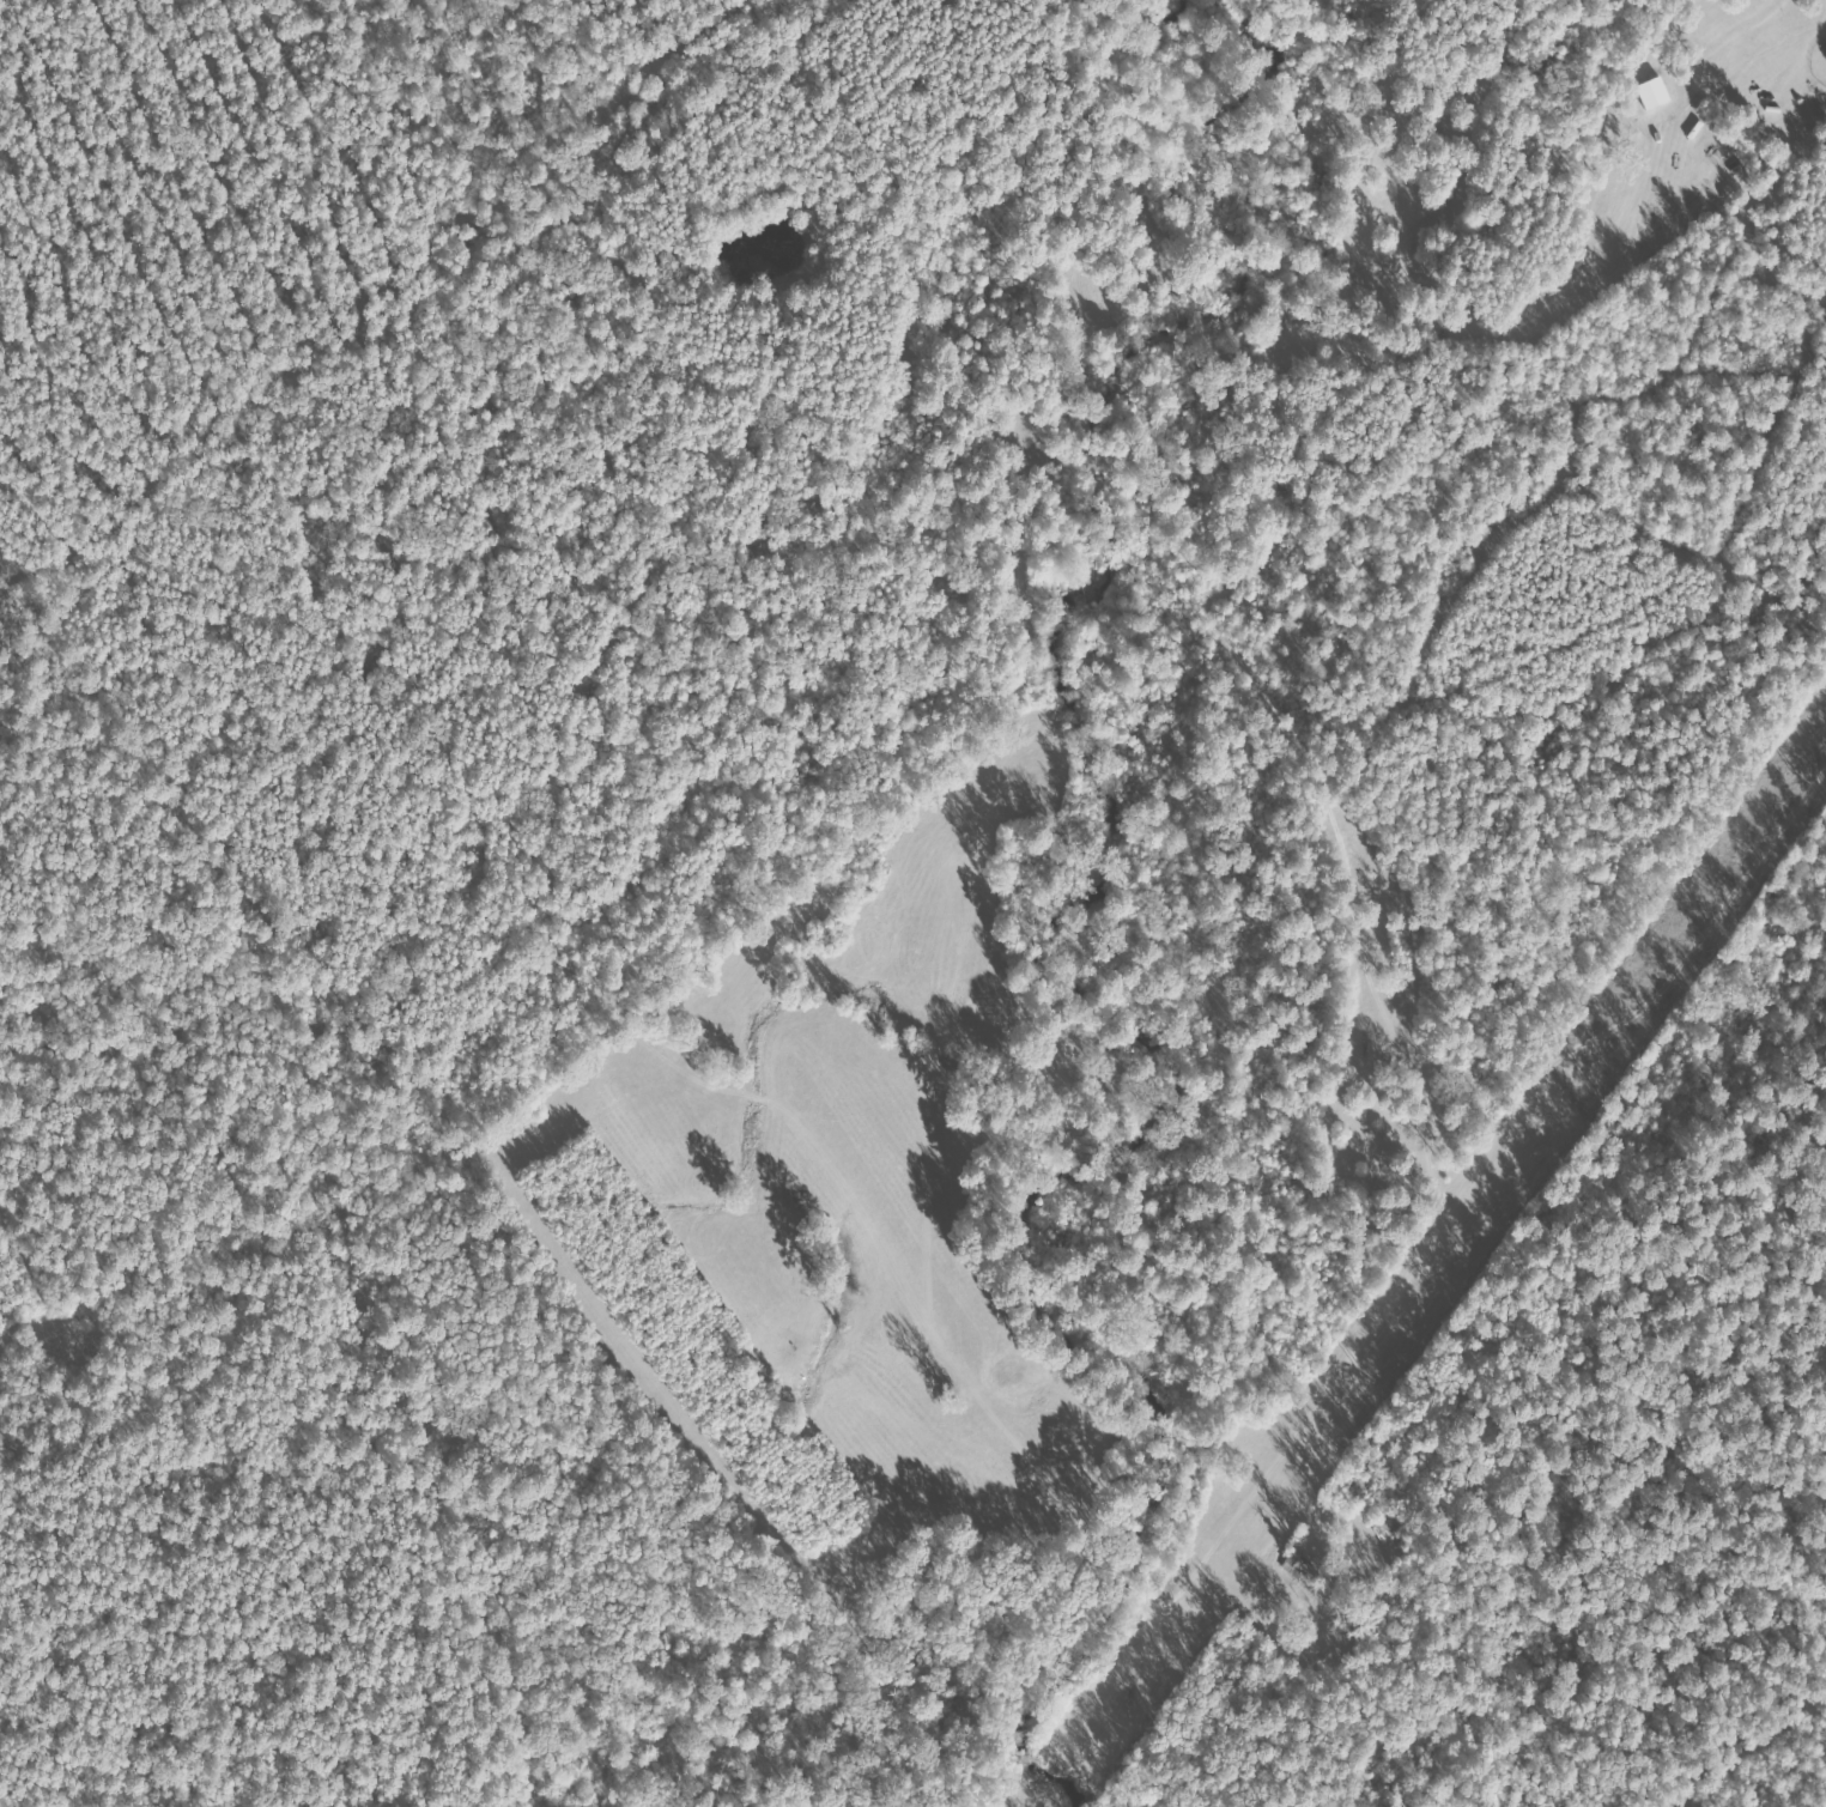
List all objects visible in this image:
power tower: (1795, 774)
power tower: (1546, 1112)
power tower: (1361, 1369)
building: (1384, 1526)
building: (1293, 1565)
power tower: (1108, 1717)

